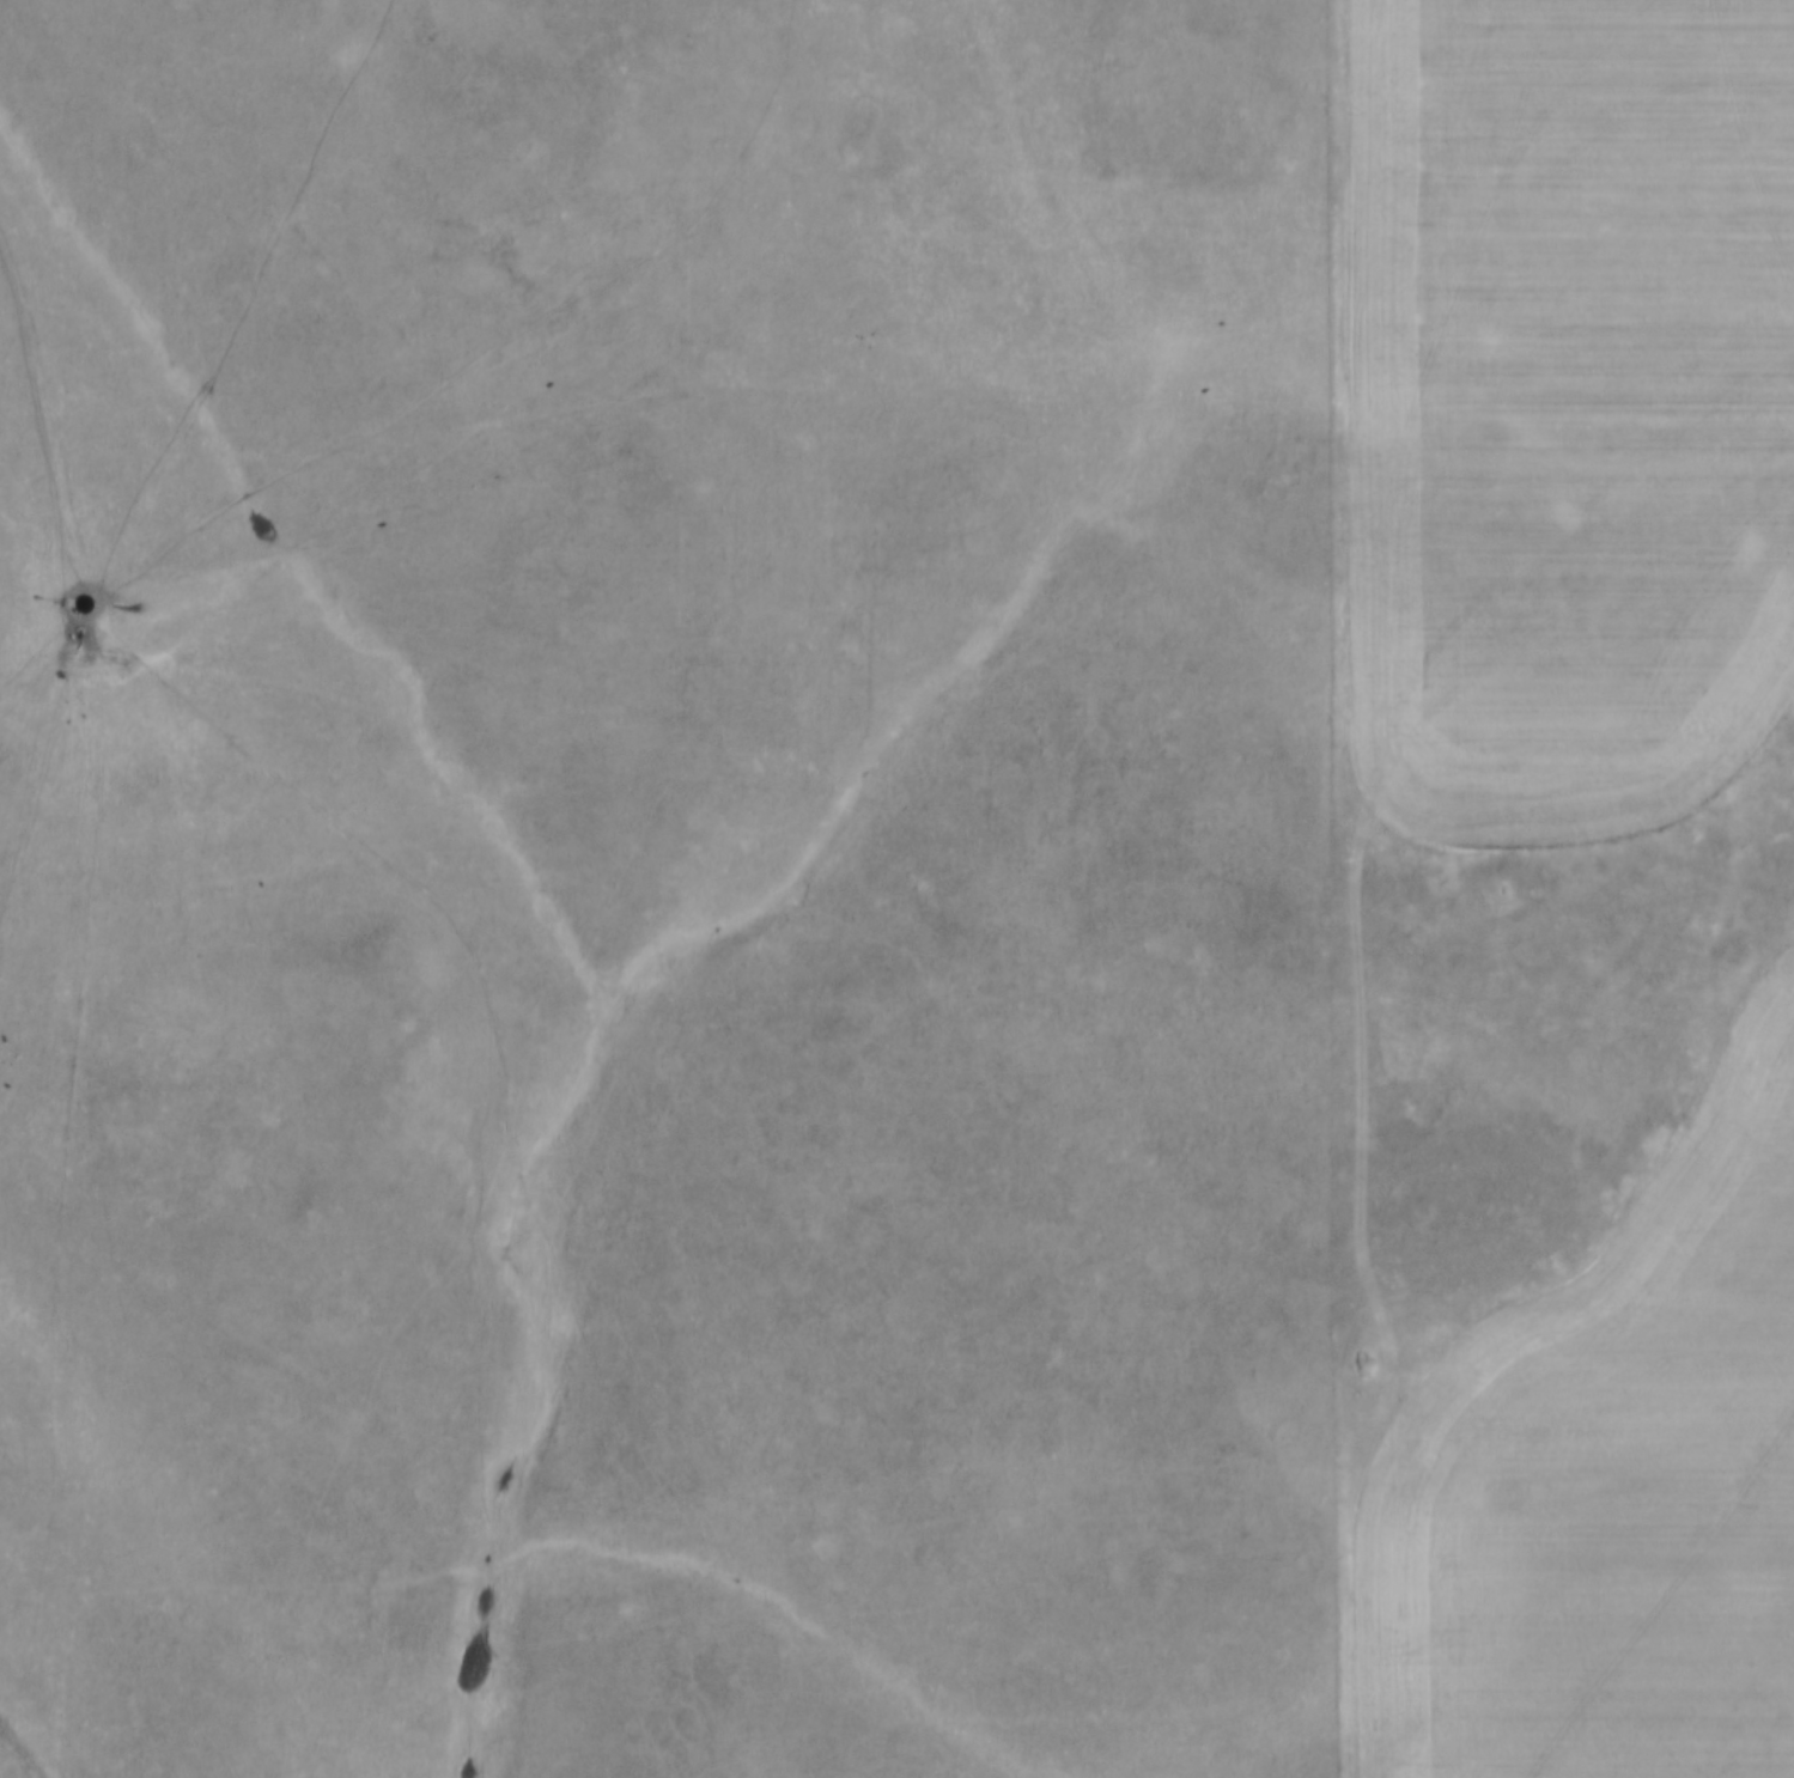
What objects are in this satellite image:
quarry: (23, 1749)

